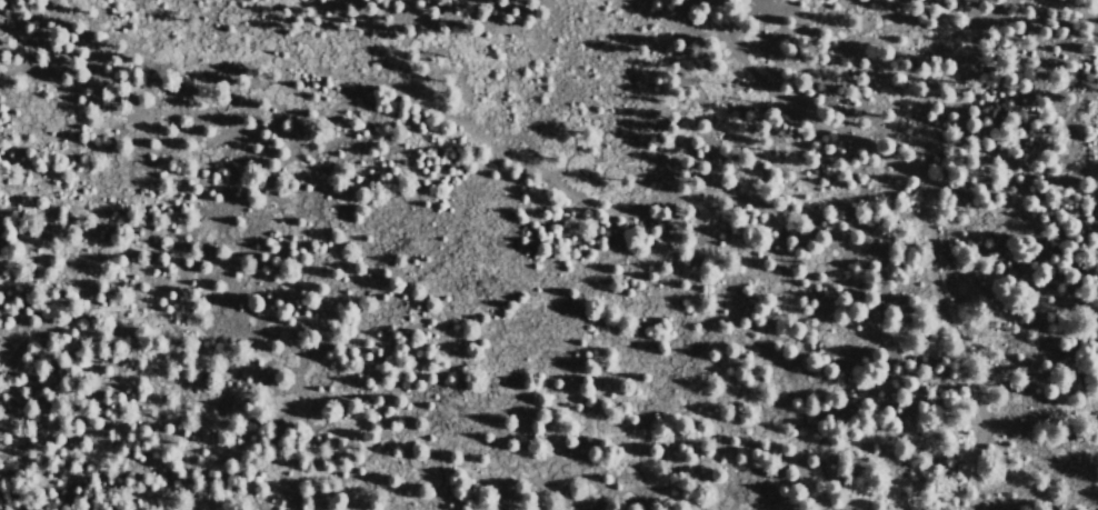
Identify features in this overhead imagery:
road: (786, 99)
road: (950, 332)

